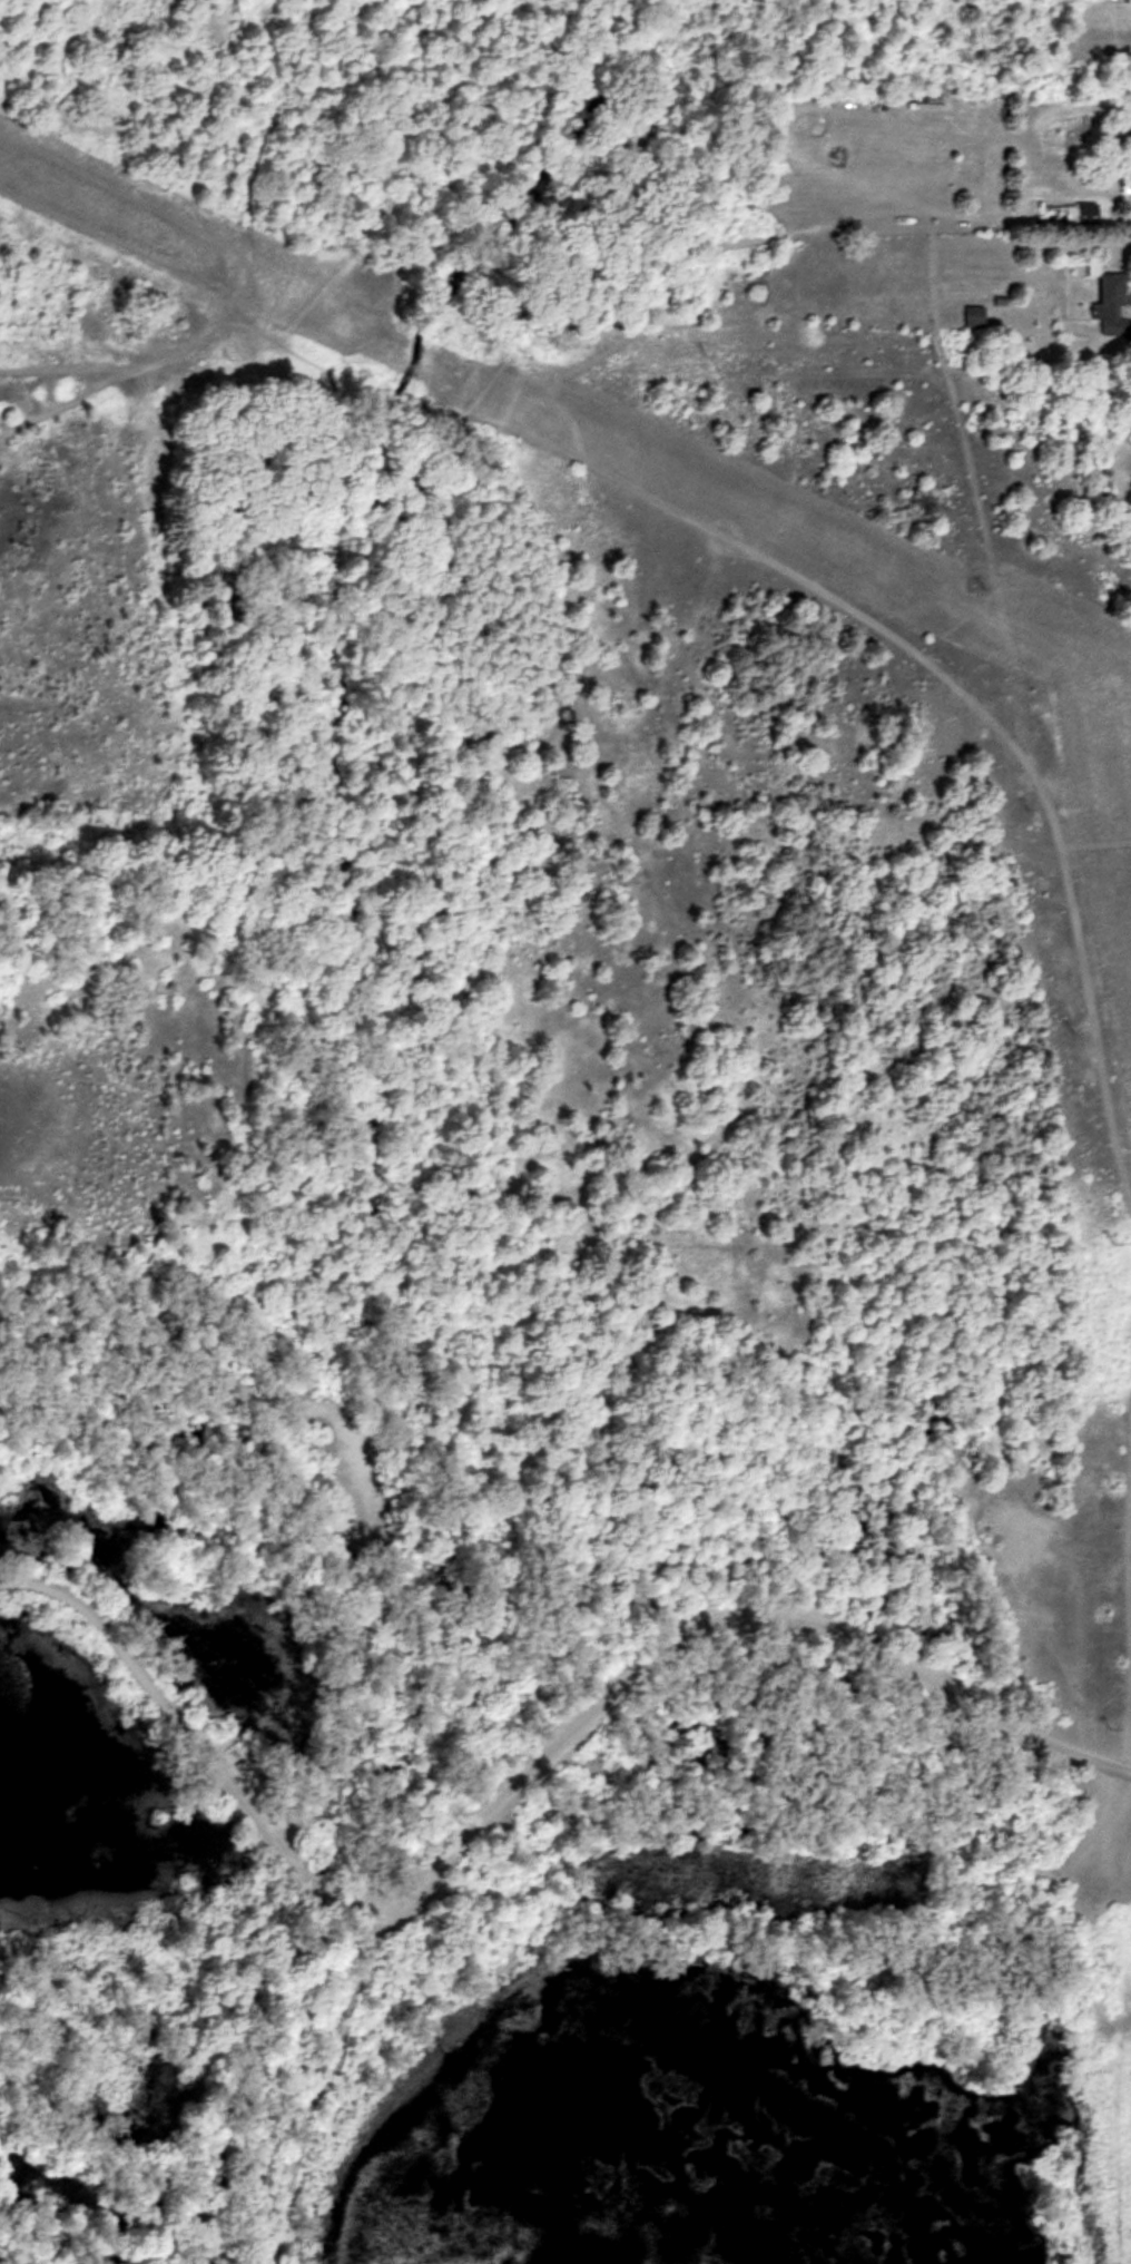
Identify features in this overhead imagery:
building: (1110, 305)
building: (974, 317)
road: (73, 398)
road: (740, 542)
road: (106, 1088)
park: (540, 1193)
road: (1123, 1562)
road: (522, 1785)
road: (316, 2085)

